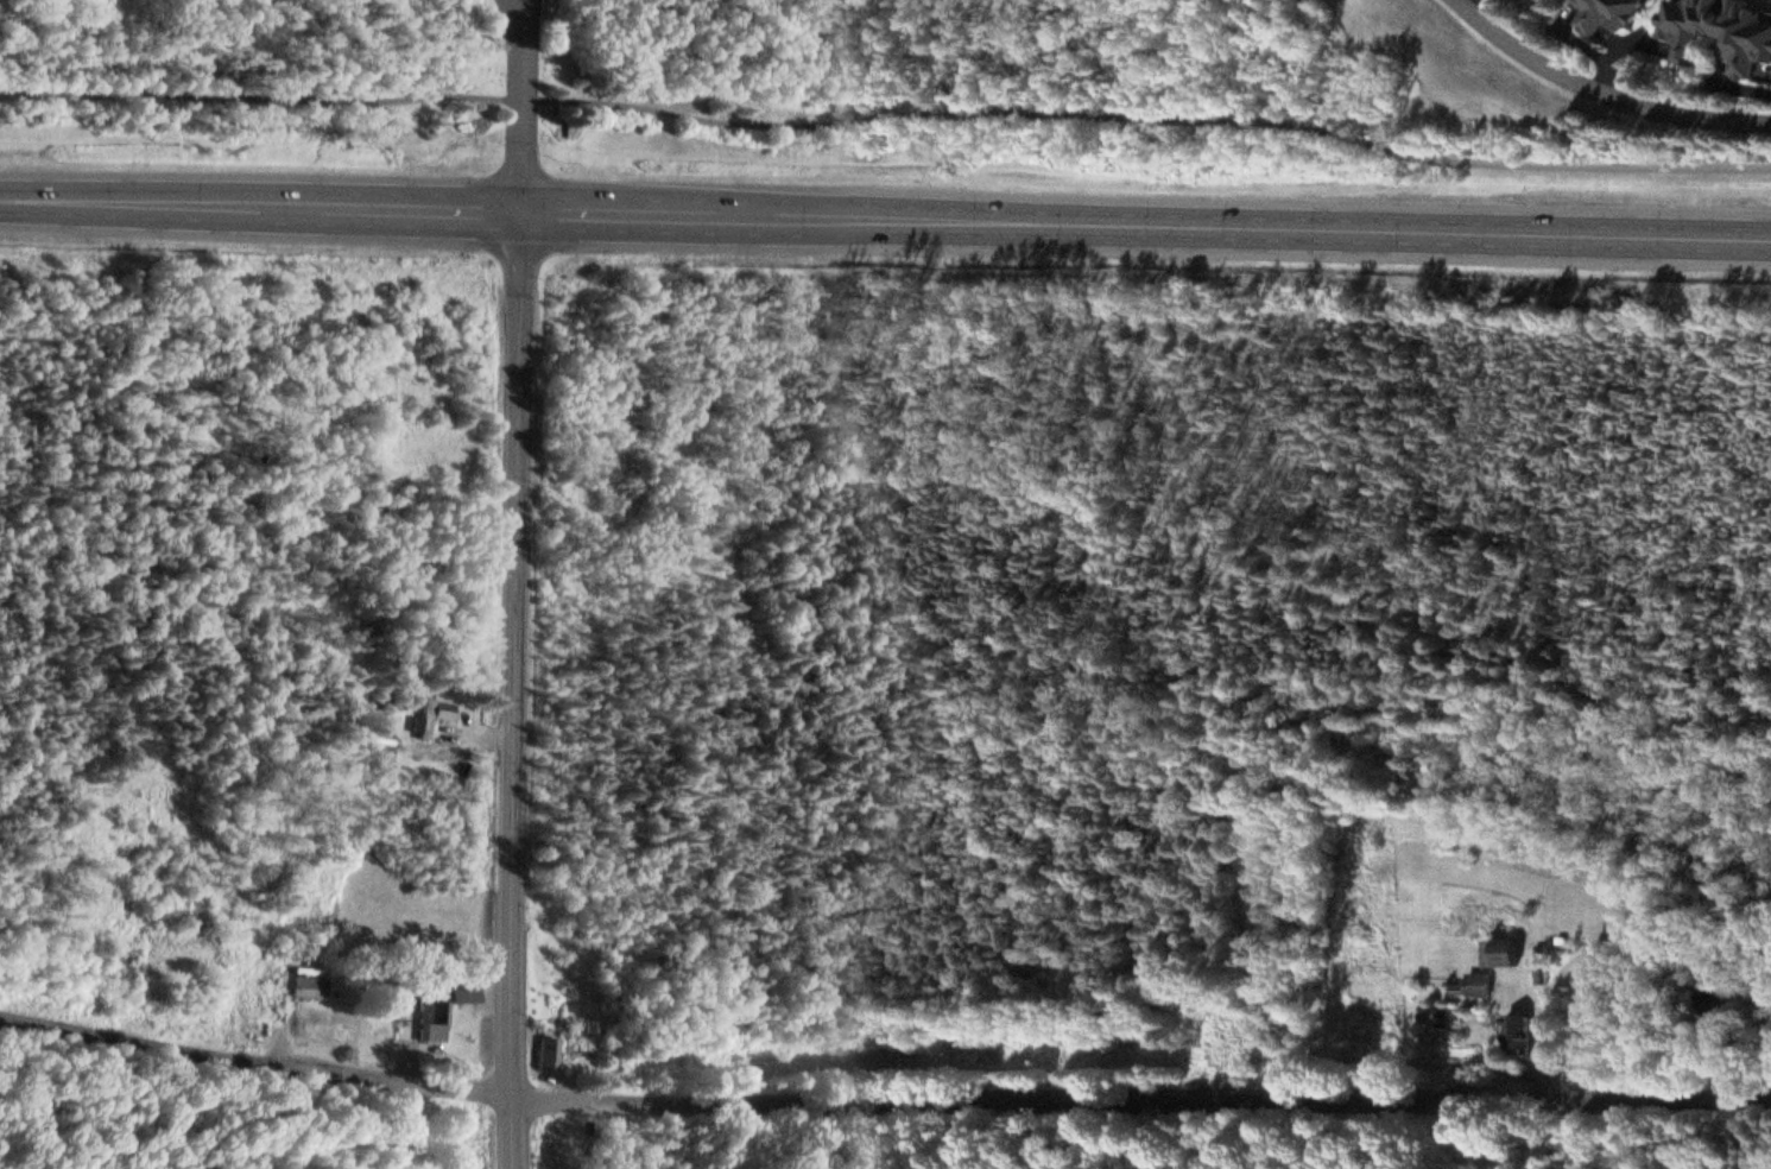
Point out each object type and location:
building: (1549, 1)
building: (1607, 15)
road: (511, 20)
road: (523, 20)
building: (1720, 32)
road: (1599, 94)
road: (886, 115)
road: (519, 126)
road: (885, 221)
road: (517, 690)
building: (434, 715)
building: (379, 743)
building: (1500, 954)
building: (438, 961)
building: (310, 982)
building: (1479, 986)
building: (466, 993)
building: (434, 1017)
building: (1518, 1035)
building: (549, 1053)
building: (581, 1061)
road: (881, 1108)
park: (203, 1120)

